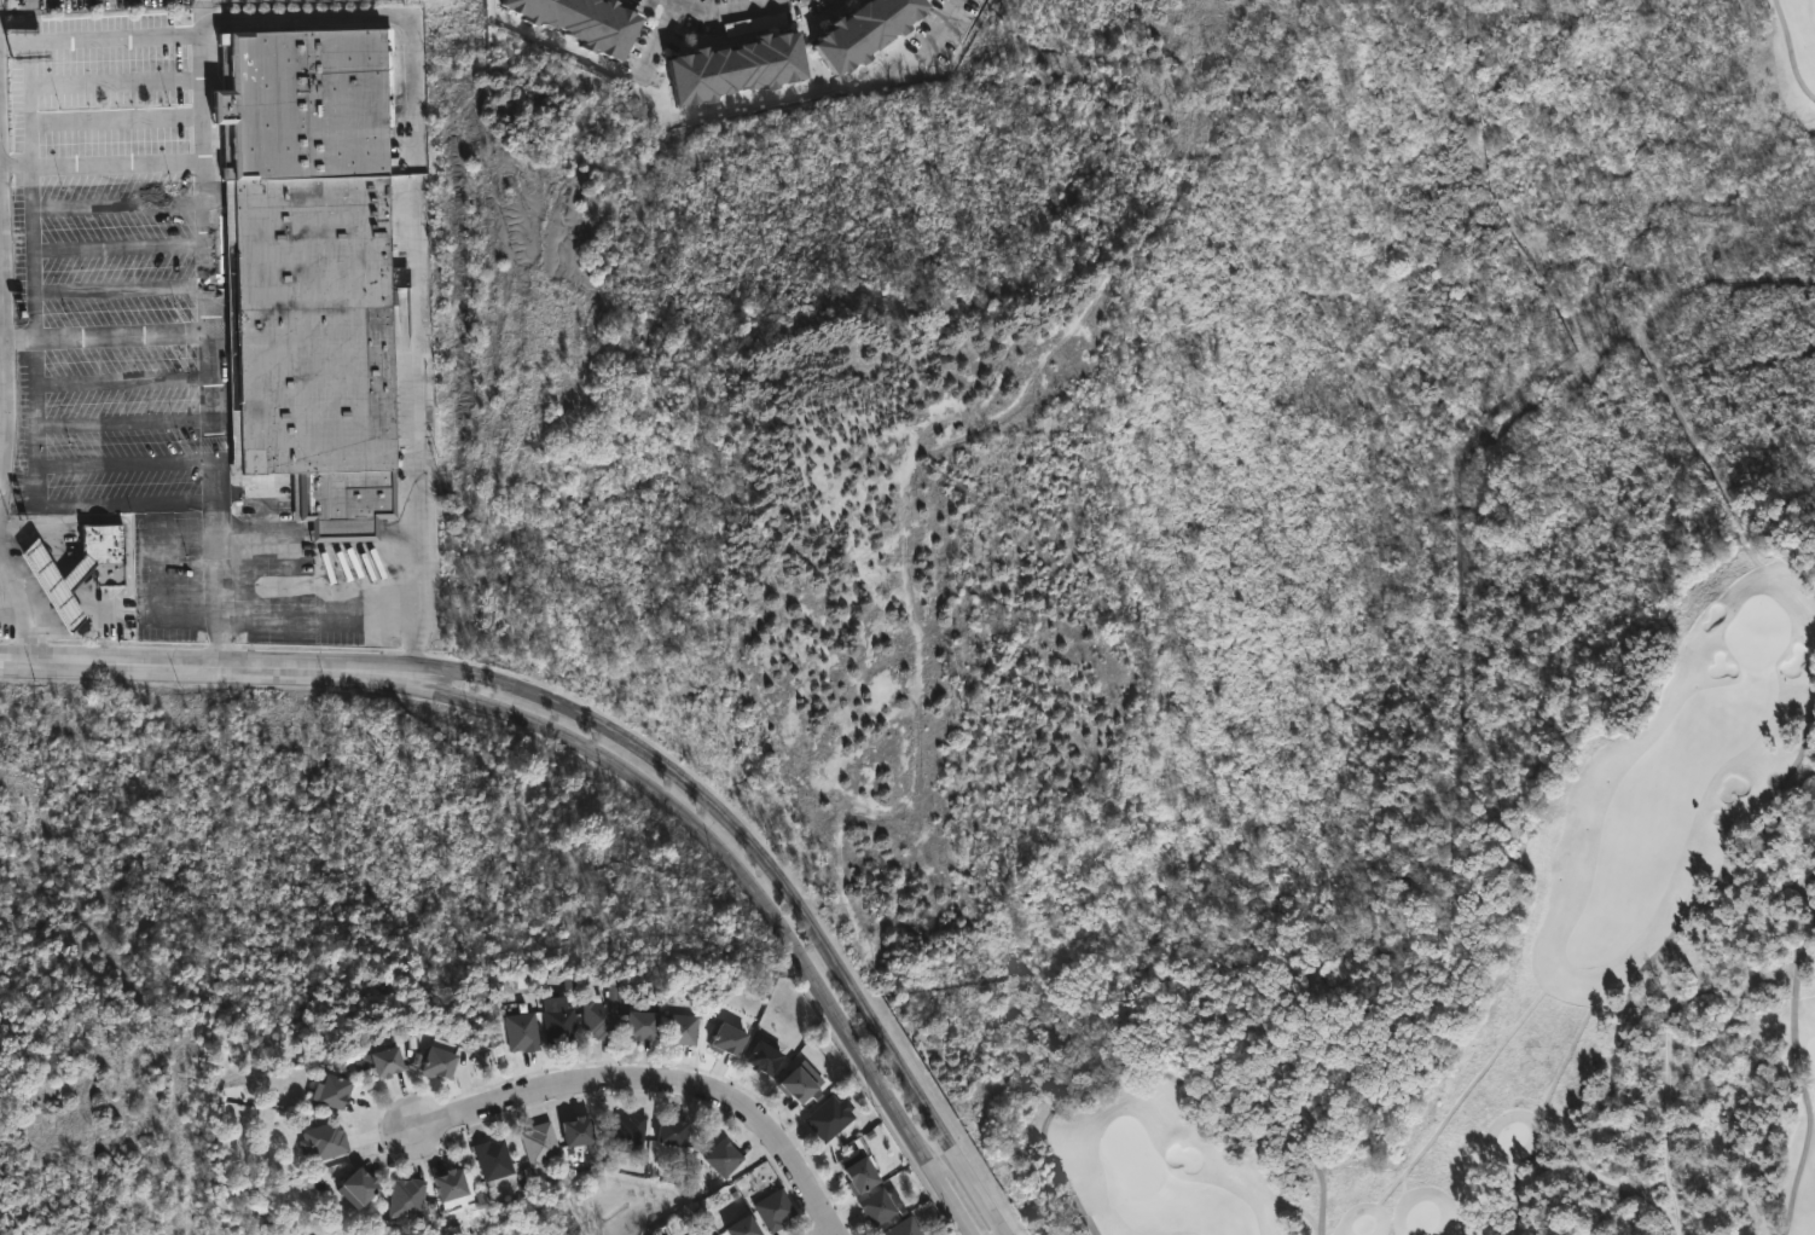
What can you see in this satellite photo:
road: (724, 2)
road: (259, 16)
building: (596, 22)
road: (945, 24)
building: (854, 30)
road: (1790, 51)
building: (727, 66)
road: (116, 161)
road: (33, 234)
building: (317, 269)
road: (4, 321)
road: (122, 335)
road: (2, 340)
road: (209, 348)
road: (34, 497)
road: (417, 514)
building: (112, 534)
building: (66, 566)
gas station: (66, 566)
building: (73, 567)
road: (21, 604)
park: (1757, 631)
road: (210, 663)
road: (787, 863)
park: (1544, 881)
road: (759, 887)
road: (1805, 893)
road: (1681, 926)
building: (603, 1017)
building: (650, 1021)
building: (564, 1026)
building: (683, 1028)
building: (527, 1030)
building: (721, 1038)
building: (756, 1056)
building: (445, 1059)
building: (393, 1060)
road: (1152, 1071)
building: (798, 1082)
road: (1799, 1082)
road: (657, 1086)
building: (340, 1090)
building: (827, 1115)
building: (666, 1130)
building: (570, 1131)
building: (627, 1132)
building: (326, 1140)
building: (538, 1146)
park: (1130, 1155)
building: (721, 1156)
road: (1573, 1158)
building: (494, 1159)
building: (853, 1170)
building: (456, 1183)
building: (364, 1187)
building: (410, 1198)
building: (875, 1206)
building: (771, 1210)
building: (736, 1227)
building: (901, 1227)
building: (702, 1233)

